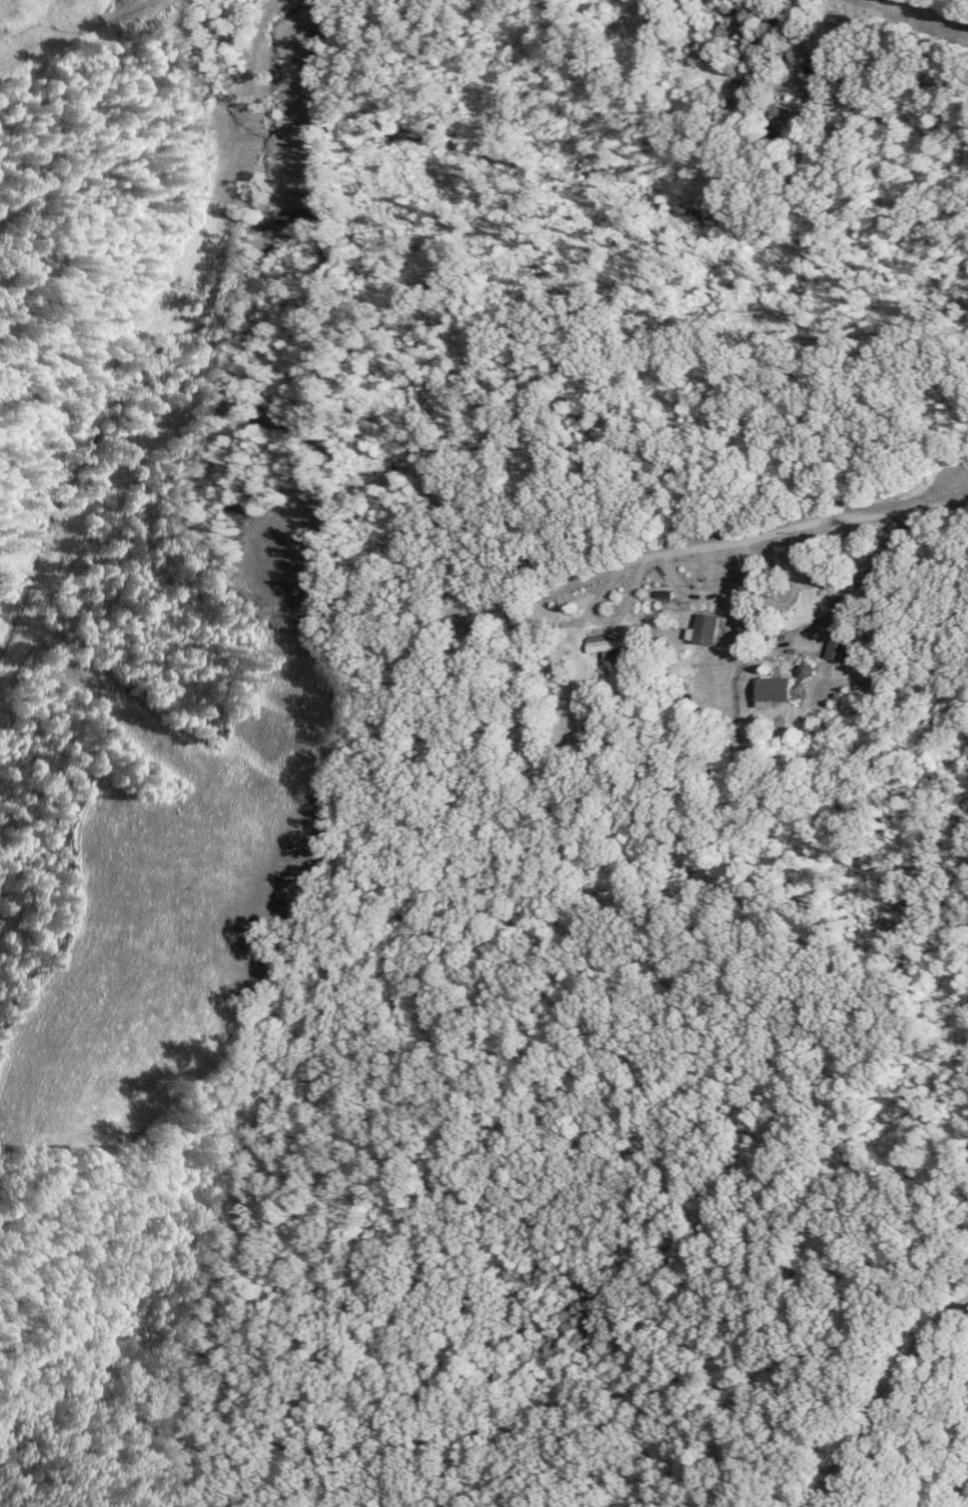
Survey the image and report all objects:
road: (653, 104)
road: (602, 587)
building: (711, 628)
building: (614, 646)
building: (841, 648)
road: (429, 651)
building: (780, 689)
road: (254, 716)
road: (896, 1402)

